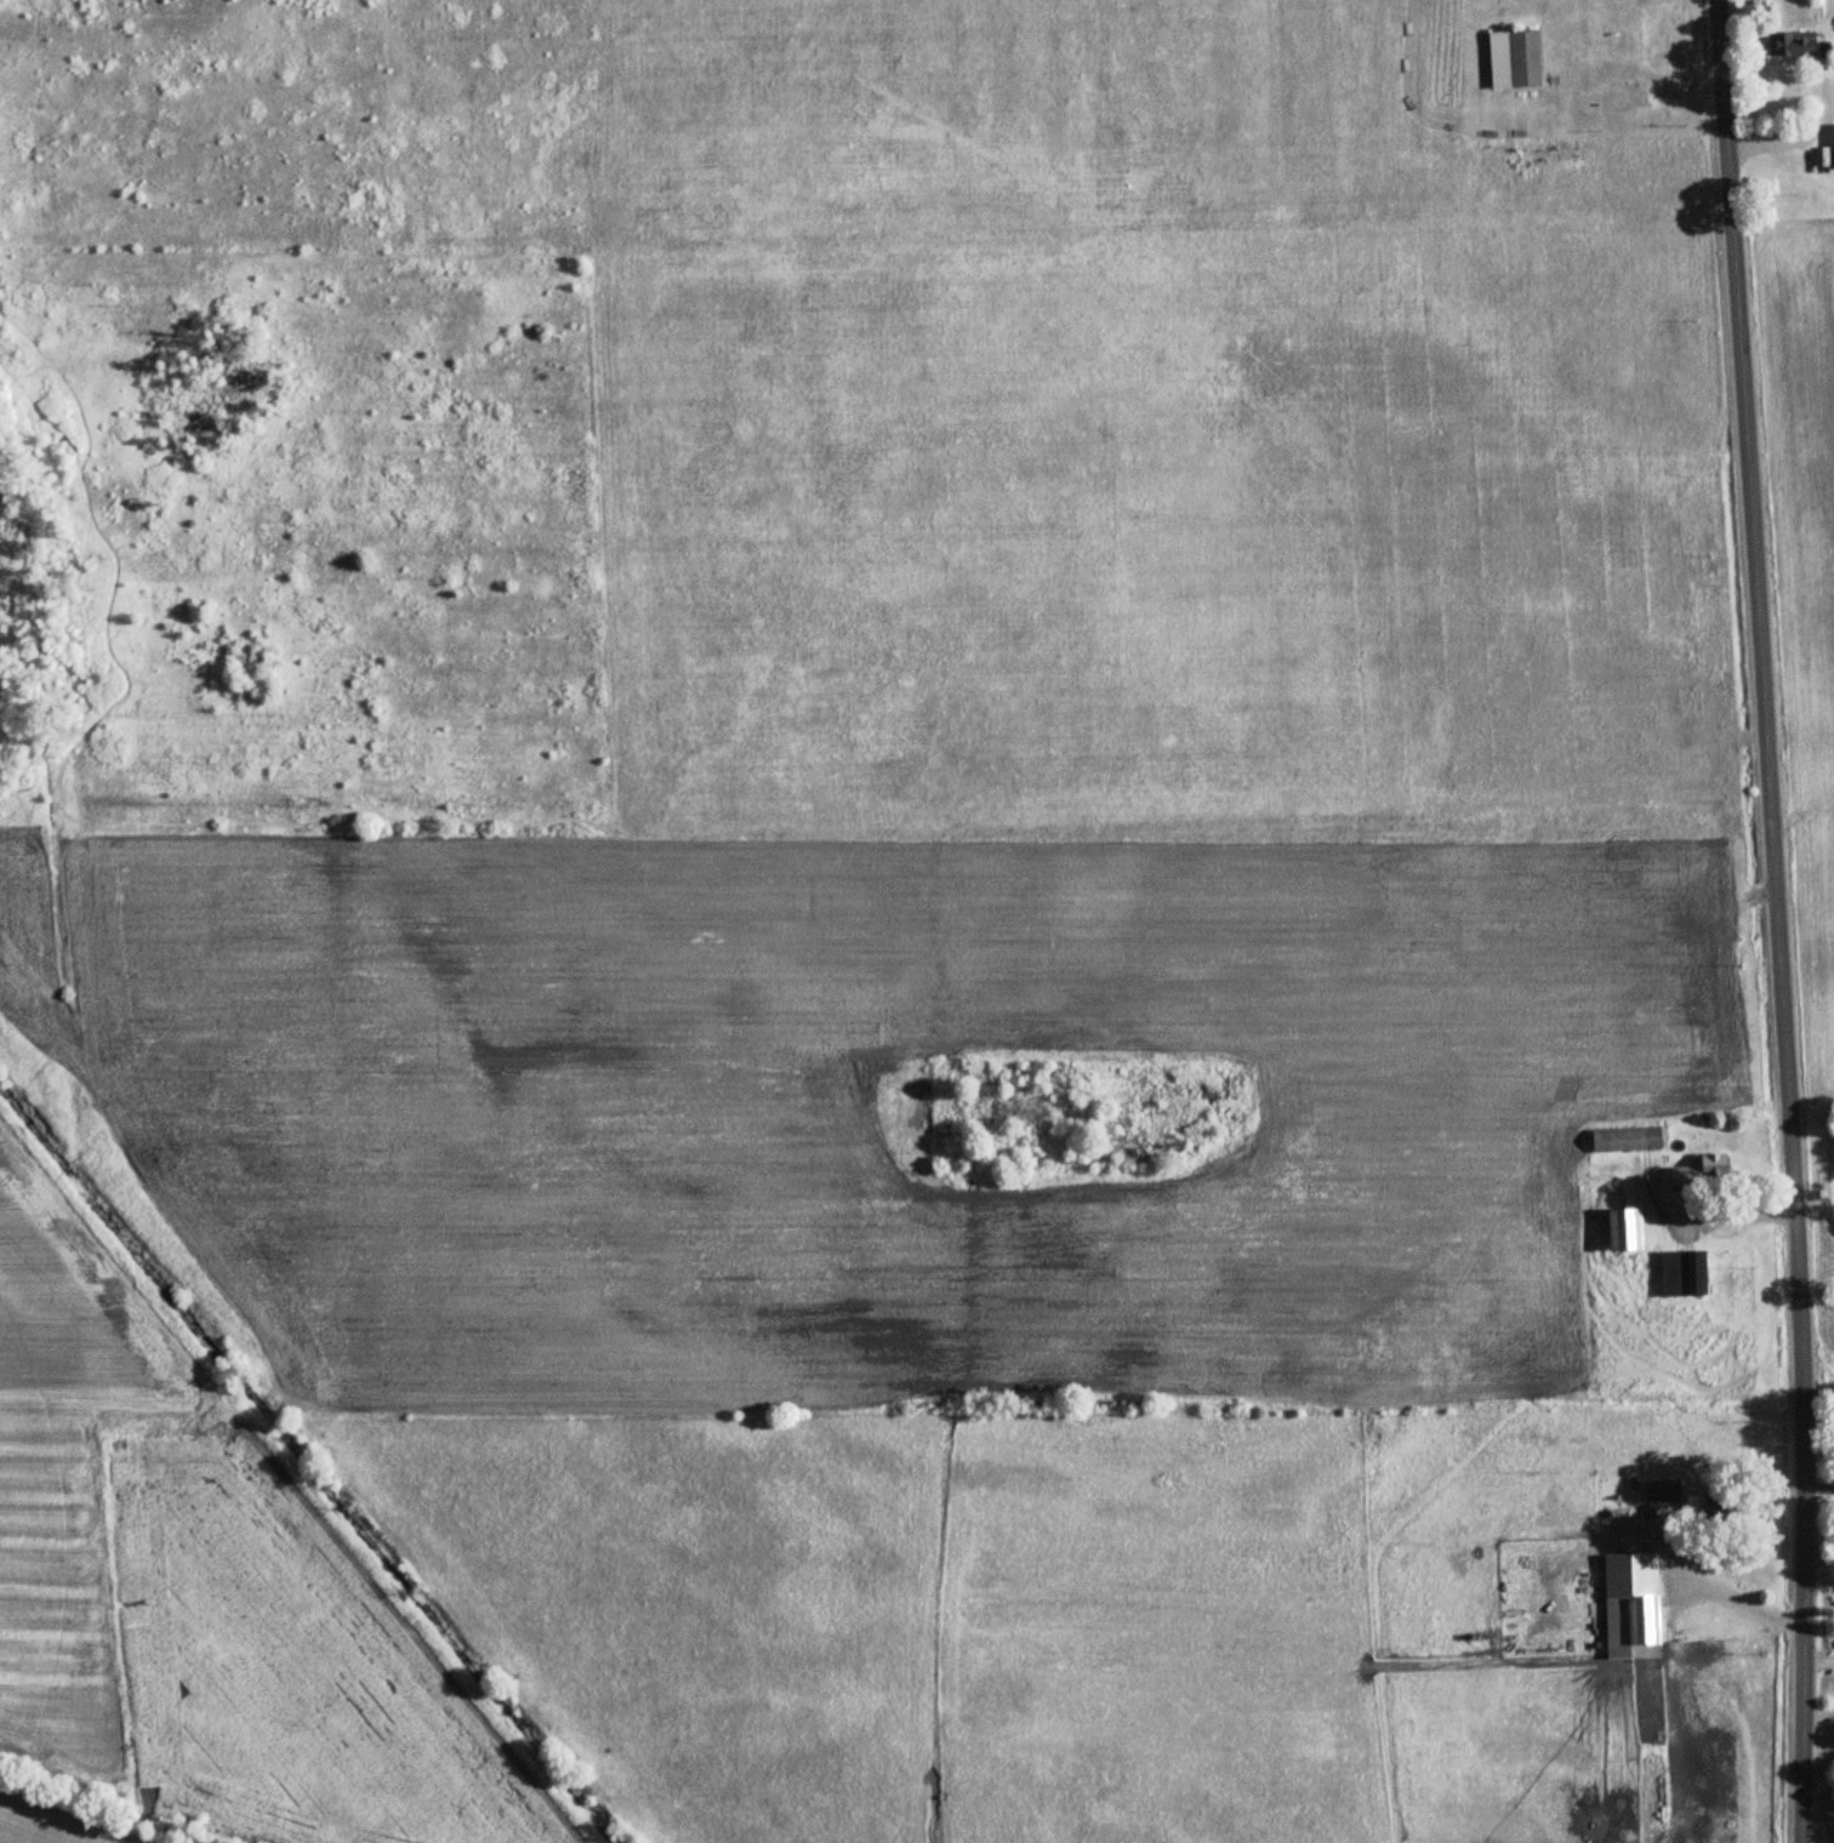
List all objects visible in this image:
building: (1793, 44)
building: (1516, 59)
road: (1778, 920)
building: (1629, 1140)
building: (1703, 1171)
road: (1736, 1210)
building: (1627, 1228)
building: (1685, 1273)
road: (1818, 1488)
building: (1664, 1493)
building: (1714, 1507)
road: (1737, 1598)
building: (1633, 1605)
road: (1818, 1654)
road: (1818, 1716)

